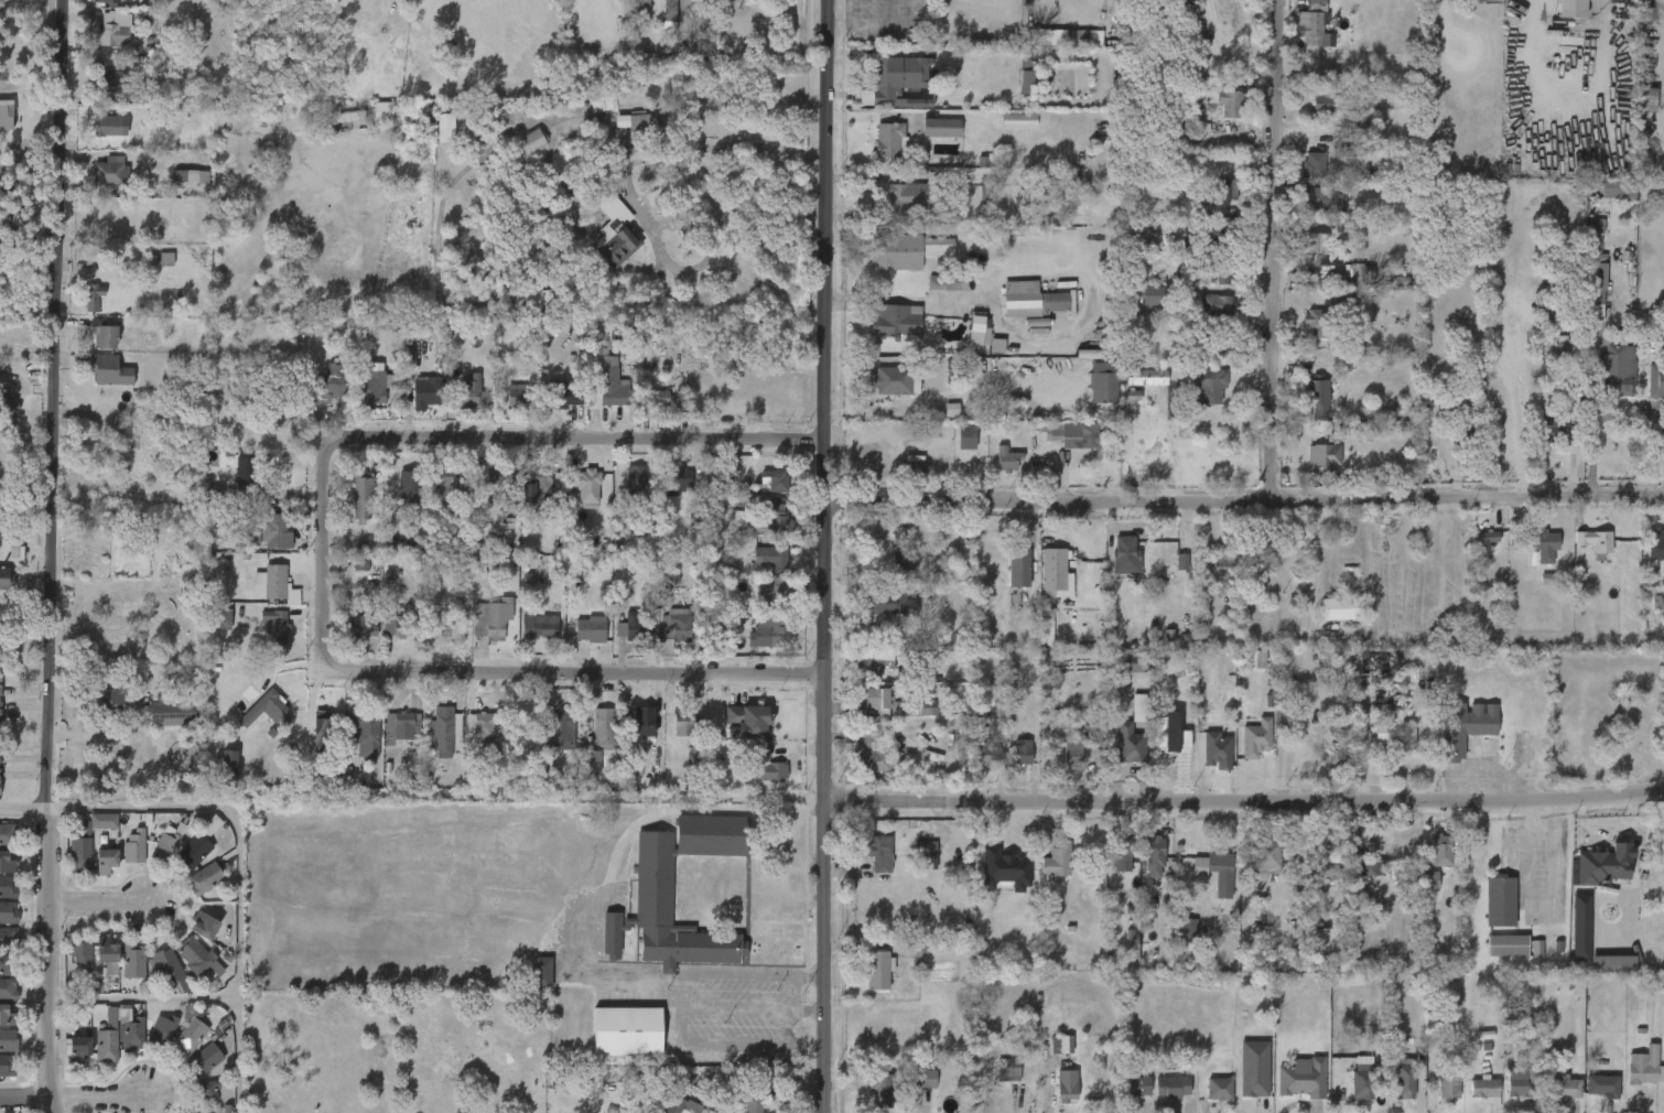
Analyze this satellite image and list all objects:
building: (106, 0)
building: (644, 4)
road: (842, 8)
building: (1571, 8)
building: (669, 9)
building: (1311, 25)
building: (117, 30)
building: (1093, 42)
building: (898, 76)
building: (109, 83)
building: (1025, 83)
building: (1646, 100)
building: (603, 104)
building: (1230, 104)
building: (1325, 105)
road: (1555, 109)
building: (382, 114)
building: (512, 116)
building: (348, 117)
building: (7, 118)
building: (1018, 120)
building: (647, 123)
building: (106, 125)
building: (942, 127)
building: (444, 129)
building: (892, 139)
building: (531, 141)
building: (1311, 165)
building: (108, 170)
building: (191, 175)
building: (1609, 188)
building: (986, 190)
road: (629, 194)
building: (911, 194)
building: (1227, 194)
building: (465, 198)
building: (1320, 202)
building: (1142, 220)
building: (615, 230)
building: (1227, 237)
building: (985, 238)
building: (1314, 242)
road: (1273, 249)
building: (887, 250)
building: (165, 259)
building: (149, 260)
building: (1595, 260)
road: (435, 267)
building: (1225, 273)
building: (1347, 274)
building: (943, 282)
building: (1154, 295)
building: (91, 296)
building: (537, 300)
road: (907, 301)
building: (1034, 301)
building: (1215, 305)
building: (1595, 314)
building: (889, 322)
building: (1319, 323)
building: (302, 327)
building: (979, 331)
building: (415, 332)
building: (102, 333)
building: (1217, 343)
building: (996, 346)
building: (1089, 354)
building: (1614, 367)
building: (950, 369)
building: (984, 369)
building: (109, 370)
building: (1145, 378)
road: (1589, 379)
building: (897, 380)
building: (329, 383)
building: (609, 386)
building: (1209, 387)
building: (367, 388)
building: (1102, 388)
building: (473, 392)
building: (563, 393)
building: (515, 396)
road: (946, 397)
building: (424, 398)
building: (658, 398)
building: (1316, 399)
building: (7, 409)
building: (951, 410)
building: (1550, 430)
building: (1460, 431)
building: (1052, 434)
building: (966, 437)
road: (580, 439)
building: (1318, 456)
building: (1008, 462)
building: (244, 472)
building: (498, 477)
building: (447, 480)
building: (776, 480)
building: (537, 482)
building: (678, 482)
building: (586, 484)
building: (635, 486)
building: (408, 488)
building: (361, 496)
building: (540, 500)
road: (1243, 500)
building: (695, 515)
building: (777, 519)
building: (275, 530)
building: (391, 531)
building: (1592, 542)
road: (324, 545)
building: (1484, 545)
building: (1654, 545)
building: (1166, 547)
building: (1546, 548)
building: (712, 550)
building: (903, 551)
building: (1258, 551)
building: (15, 553)
building: (1123, 553)
road: (822, 555)
road: (53, 556)
building: (774, 558)
building: (1181, 562)
building: (359, 563)
building: (1222, 565)
building: (1017, 568)
building: (1055, 574)
building: (528, 577)
building: (7, 579)
building: (274, 586)
building: (775, 596)
building: (889, 604)
building: (1661, 604)
building: (1340, 608)
building: (221, 616)
building: (493, 619)
building: (275, 623)
building: (397, 626)
building: (545, 626)
building: (358, 627)
building: (673, 628)
building: (591, 629)
building: (631, 630)
building: (776, 630)
building: (865, 634)
building: (1255, 659)
building: (1132, 663)
building: (1372, 663)
building: (872, 667)
building: (1332, 670)
road: (568, 671)
building: (0, 685)
building: (872, 698)
building: (261, 703)
building: (117, 704)
building: (1138, 707)
building: (994, 711)
building: (170, 712)
building: (0, 714)
building: (316, 722)
building: (559, 723)
building: (648, 723)
building: (684, 724)
building: (747, 725)
building: (1463, 726)
building: (605, 727)
building: (479, 728)
building: (402, 730)
building: (444, 731)
building: (364, 733)
building: (1166, 734)
building: (1393, 734)
building: (325, 737)
building: (1254, 737)
building: (1640, 738)
building: (1185, 741)
building: (1128, 743)
building: (868, 750)
building: (1071, 750)
building: (1217, 750)
building: (982, 753)
building: (1020, 753)
building: (1333, 755)
building: (1595, 758)
building: (593, 761)
building: (228, 764)
building: (769, 766)
road: (1243, 802)
road: (24, 808)
building: (102, 821)
building: (9, 835)
building: (168, 842)
building: (198, 845)
building: (133, 849)
building: (83, 850)
building: (1438, 850)
building: (880, 853)
building: (1119, 853)
building: (1265, 854)
building: (925, 855)
building: (1152, 856)
building: (1055, 861)
building: (8, 862)
building: (105, 862)
building: (1603, 864)
building: (1325, 865)
building: (1365, 865)
building: (1004, 869)
road: (238, 873)
building: (1218, 873)
building: (1398, 874)
building: (204, 879)
building: (1429, 880)
building: (652, 885)
building: (9, 887)
building: (1365, 898)
building: (1498, 901)
road: (101, 904)
building: (9, 914)
road: (583, 914)
building: (1580, 925)
building: (204, 926)
building: (1184, 932)
building: (9, 938)
building: (1504, 945)
building: (916, 950)
building: (83, 951)
building: (111, 954)
building: (197, 955)
building: (134, 960)
building: (8, 964)
building: (169, 970)
building: (878, 971)
building: (540, 972)
building: (1346, 980)
building: (8, 990)
road: (144, 1002)
building: (9, 1016)
building: (163, 1029)
building: (626, 1030)
building: (193, 1031)
building: (134, 1035)
building: (109, 1038)
building: (9, 1040)
building: (1058, 1044)
building: (83, 1049)
building: (209, 1052)
building: (7, 1066)
building: (1641, 1067)
building: (1254, 1069)
building: (1005, 1070)
building: (926, 1078)
building: (1298, 1078)
building: (553, 1080)
building: (1359, 1081)
building: (1404, 1081)
building: (1519, 1082)
building: (1065, 1087)
building: (1136, 1087)
building: (1170, 1087)
building: (1600, 1087)
building: (1446, 1088)
building: (882, 1089)
building: (1218, 1089)
building: (1560, 1089)
building: (206, 1090)
building: (1482, 1090)
building: (752, 1096)
road: (25, 1098)
road: (102, 1098)
building: (681, 1106)

